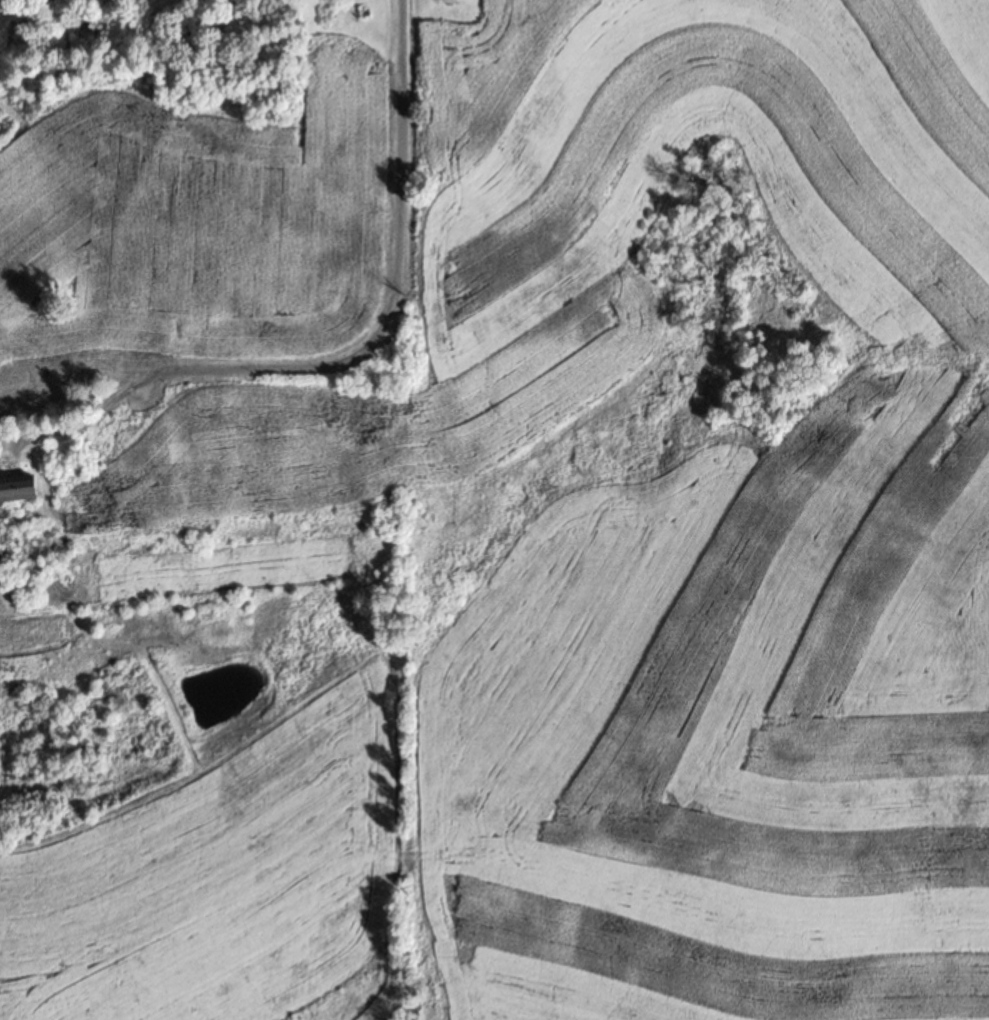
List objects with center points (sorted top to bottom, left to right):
building: (449, 0)
road: (366, 356)
building: (41, 395)
building: (17, 490)

